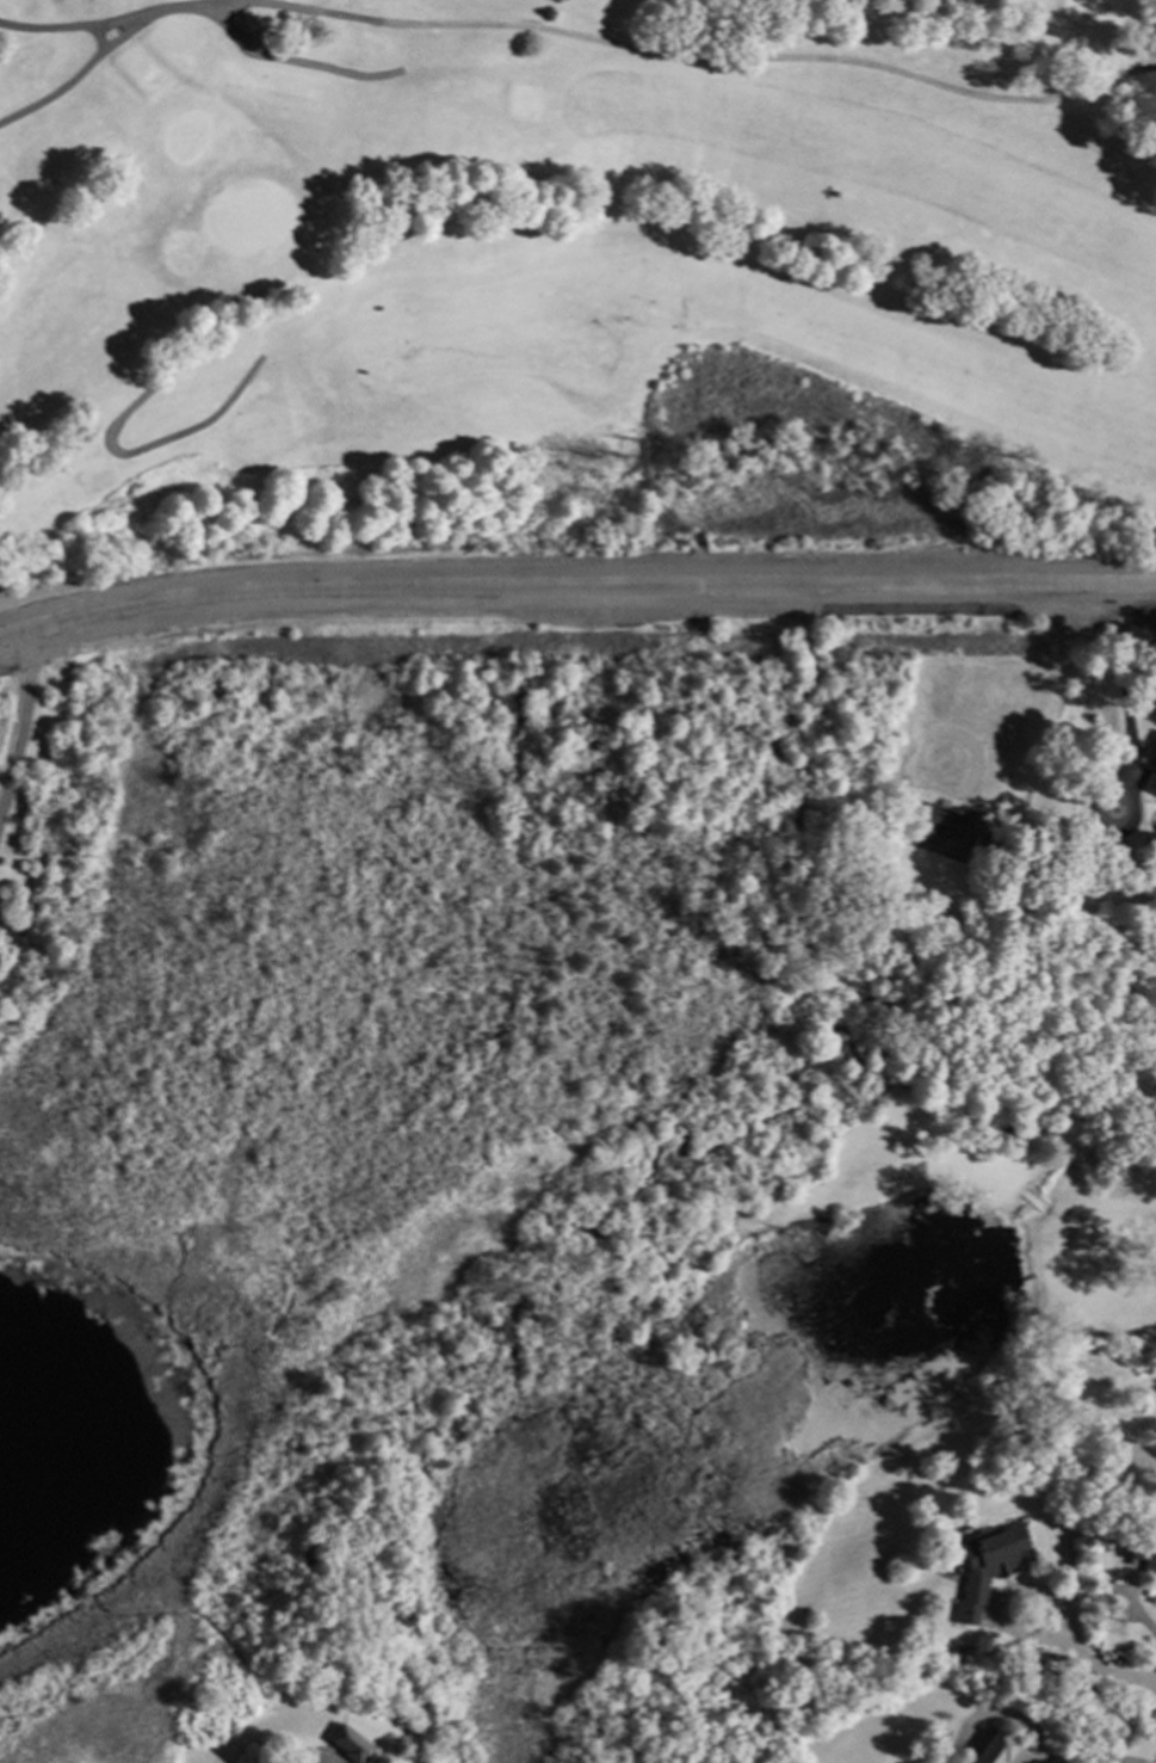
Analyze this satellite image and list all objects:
building: (243, 24)
road: (581, 39)
road: (94, 43)
road: (290, 63)
road: (78, 76)
park: (574, 259)
park: (573, 286)
road: (109, 446)
road: (575, 592)
road: (1124, 677)
road: (19, 722)
building: (1150, 779)
building: (984, 846)
building: (1061, 884)
building: (310, 1551)
building: (1144, 1554)
building: (987, 1565)
road: (1002, 1601)
road: (1136, 1614)
road: (1106, 1675)
building: (350, 1743)
building: (994, 1749)

